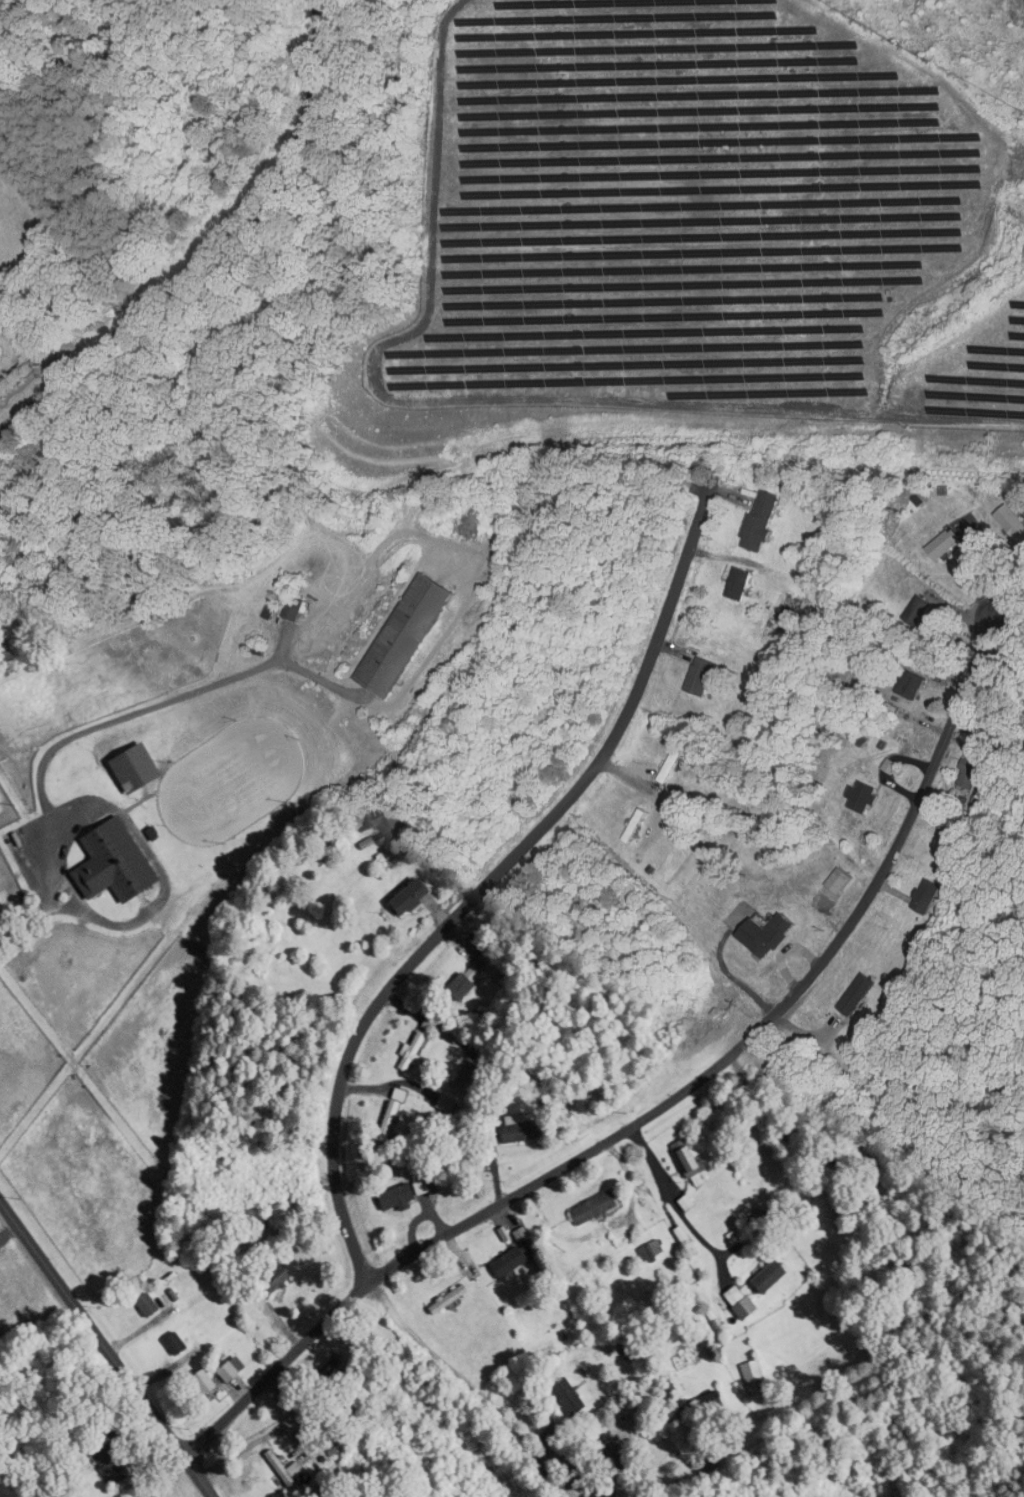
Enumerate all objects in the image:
road: (218, 254)
building: (766, 520)
building: (945, 546)
building: (742, 584)
building: (300, 603)
building: (794, 612)
building: (409, 635)
building: (771, 669)
building: (704, 677)
building: (918, 684)
building: (679, 763)
building: (141, 768)
building: (976, 786)
building: (869, 798)
building: (640, 825)
building: (118, 863)
building: (847, 881)
building: (934, 896)
building: (415, 898)
building: (775, 935)
road: (394, 985)
building: (469, 987)
building: (863, 996)
building: (432, 1039)
road: (665, 1101)
road: (768, 1116)
building: (392, 1119)
building: (523, 1132)
building: (691, 1161)
building: (409, 1193)
building: (598, 1208)
building: (687, 1237)
building: (515, 1261)
building: (774, 1276)
building: (451, 1299)
building: (745, 1302)
building: (150, 1305)
building: (178, 1344)
road: (106, 1348)
building: (235, 1370)
building: (758, 1377)
building: (208, 1382)
building: (572, 1397)
building: (715, 1404)
building: (347, 1435)
building: (286, 1467)
road: (721, 1467)
building: (118, 1469)
building: (157, 1495)

